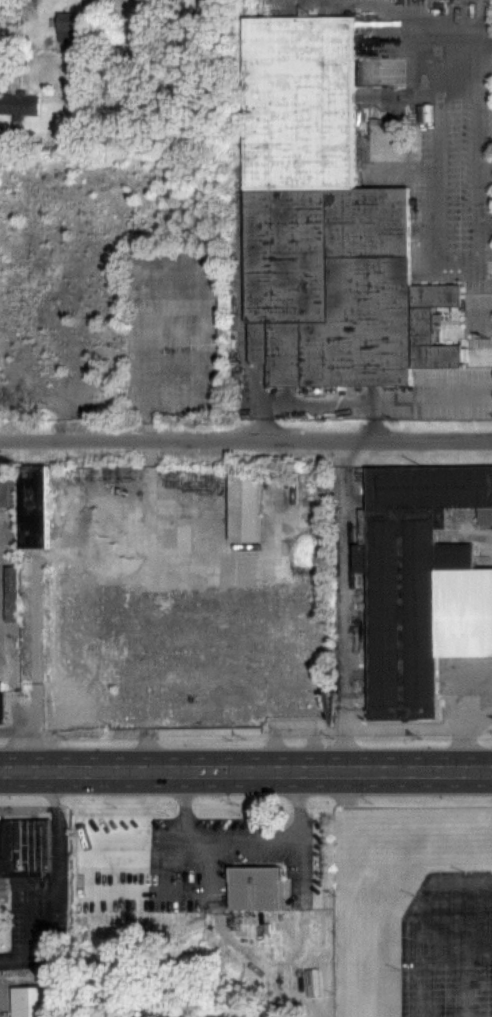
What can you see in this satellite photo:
building: (20, 102)
road: (433, 160)
building: (323, 222)
road: (246, 442)
building: (8, 484)
building: (31, 505)
building: (244, 506)
building: (420, 582)
building: (83, 640)
building: (0, 701)
building: (294, 711)
road: (467, 714)
road: (349, 726)
road: (312, 748)
road: (345, 748)
road: (245, 769)
building: (23, 846)
building: (166, 888)
building: (254, 888)
road: (411, 913)
road: (462, 946)
building: (32, 1001)

